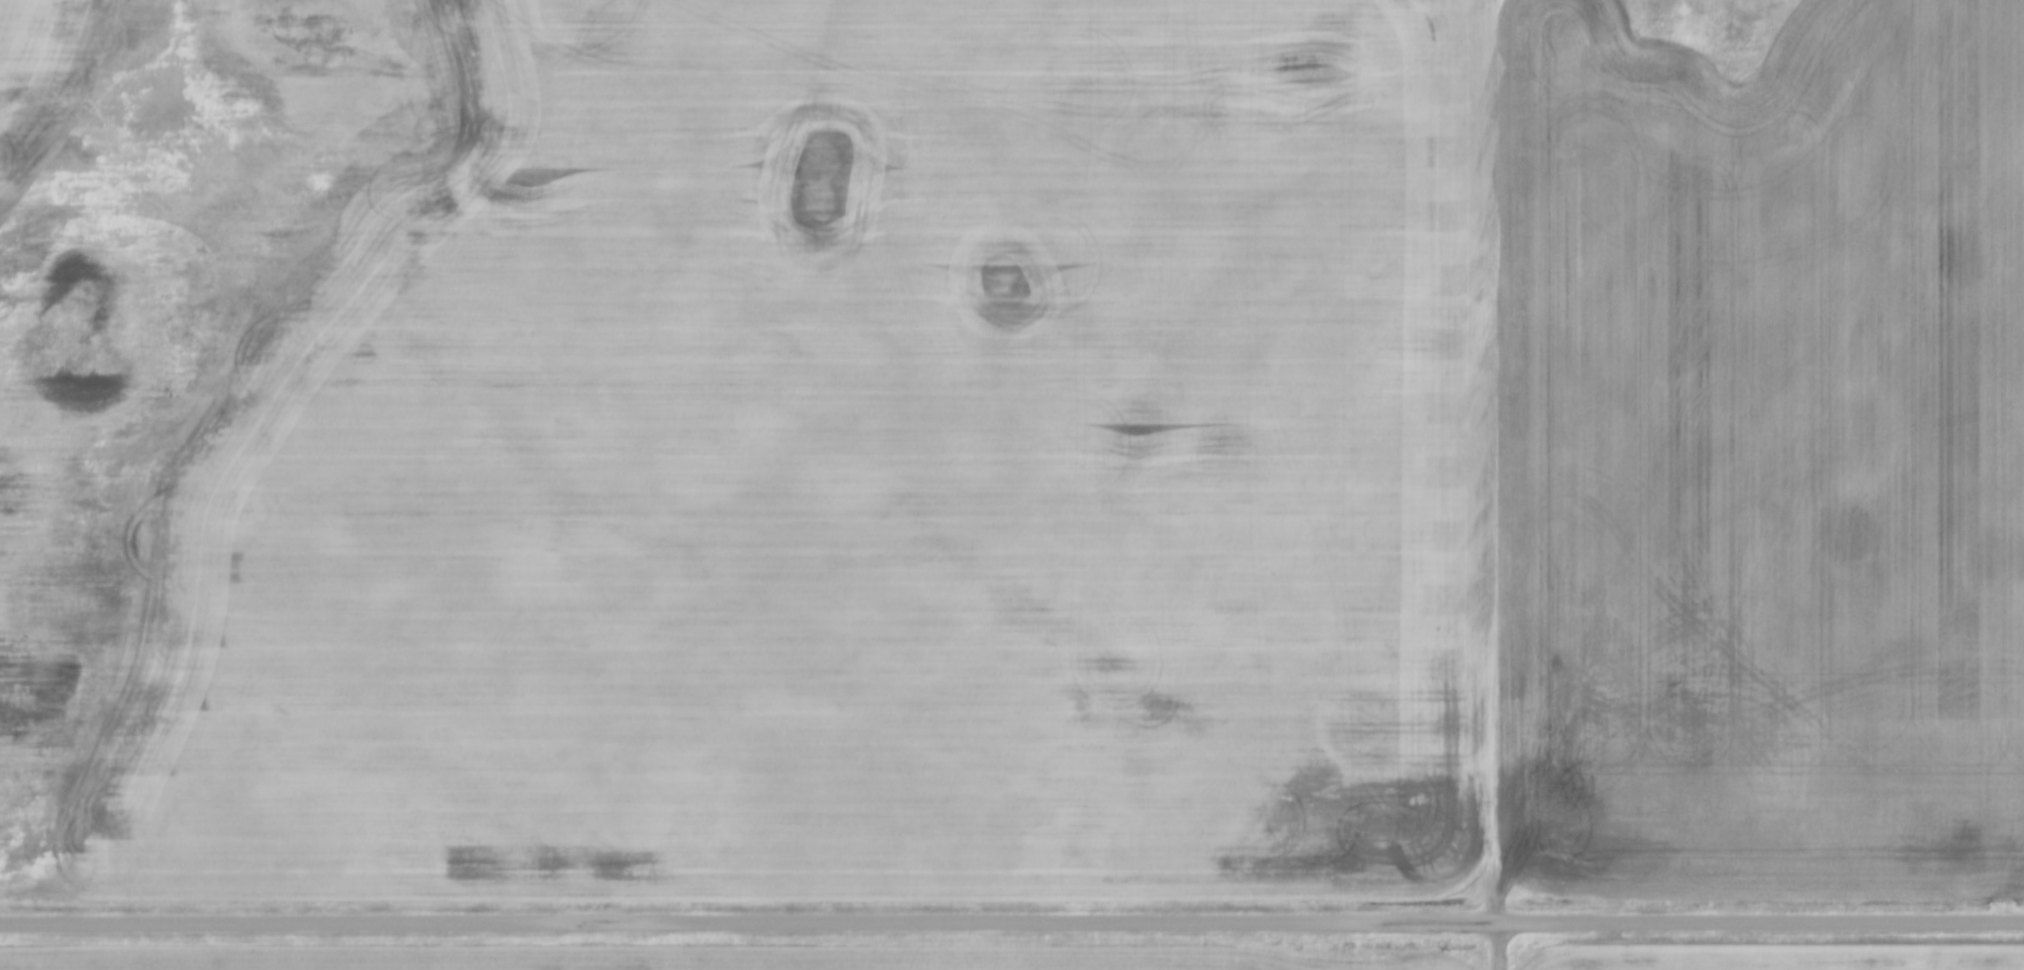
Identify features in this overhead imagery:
road: (1502, 484)
road: (1012, 922)

